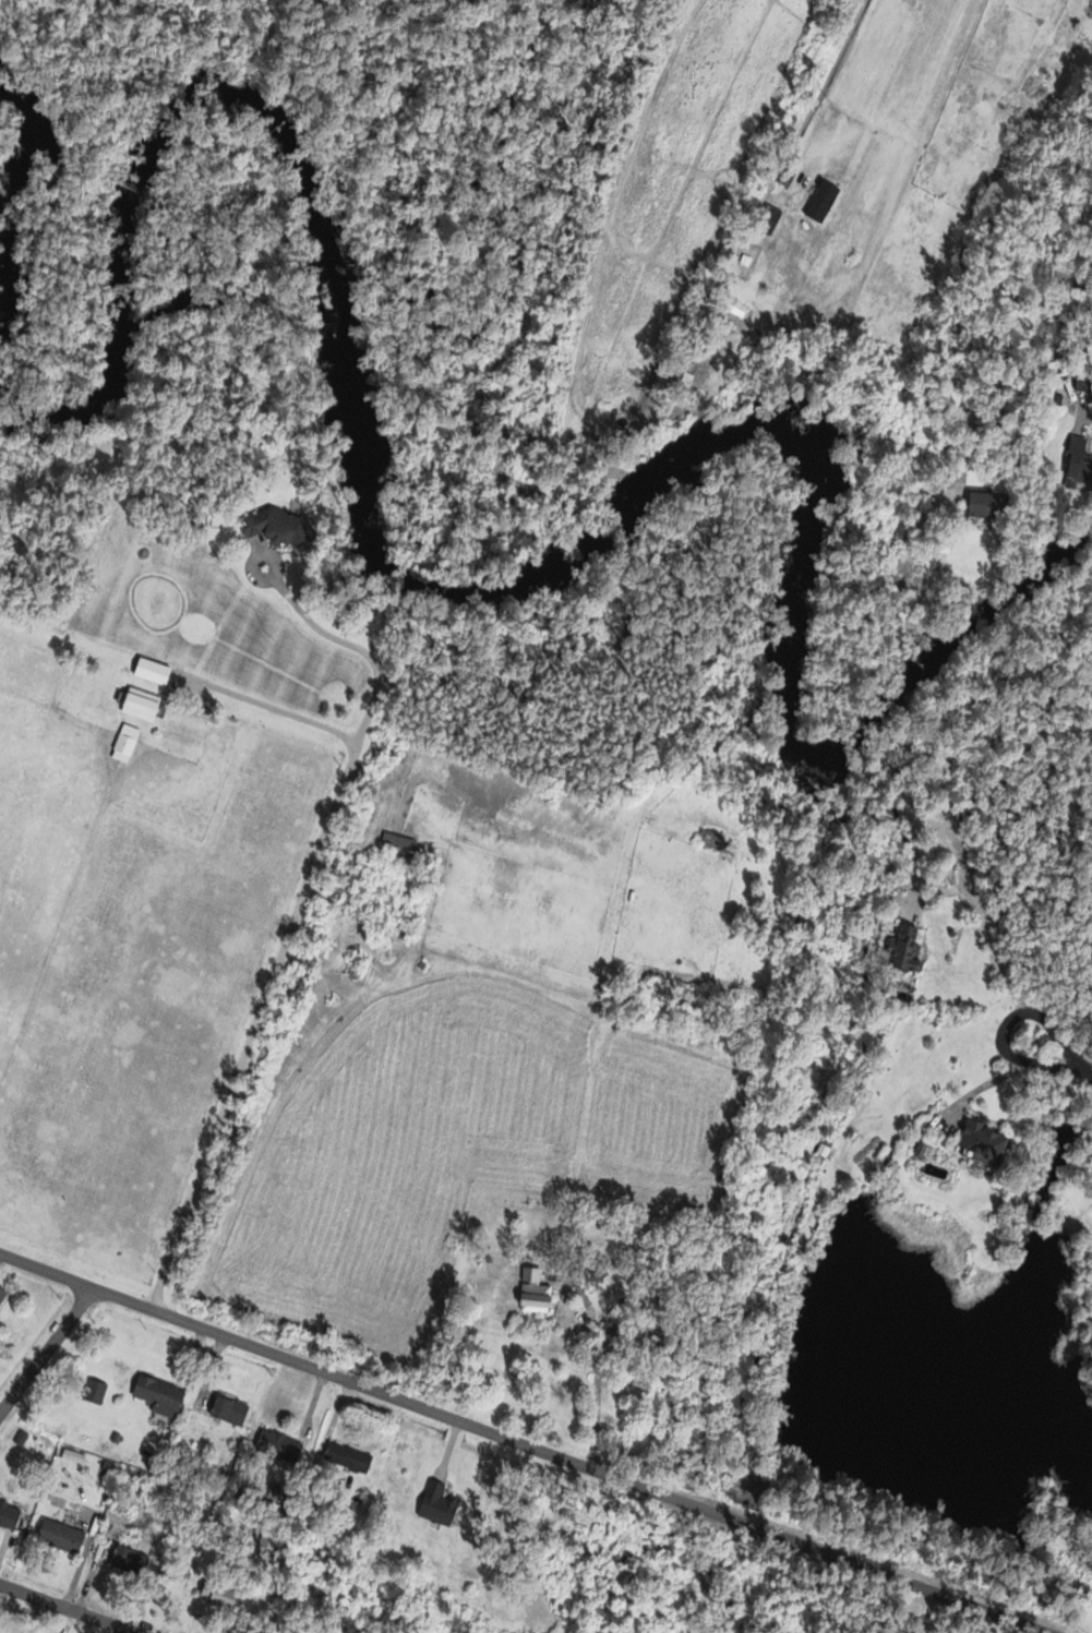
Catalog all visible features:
road: (909, 70)
building: (821, 201)
building: (1084, 387)
road: (992, 388)
road: (1088, 415)
building: (993, 420)
building: (991, 506)
building: (279, 528)
building: (154, 672)
building: (142, 705)
road: (273, 709)
building: (125, 744)
building: (711, 839)
building: (398, 840)
road: (287, 935)
building: (908, 948)
road: (1007, 1026)
road: (1084, 1076)
building: (985, 1140)
building: (535, 1292)
road: (593, 1341)
road: (46, 1347)
building: (158, 1396)
building: (229, 1410)
road: (523, 1442)
building: (348, 1458)
building: (290, 1502)
building: (5, 1516)
building: (61, 1536)
building: (130, 1561)
road: (70, 1607)
road: (963, 1618)
road: (1023, 1629)

